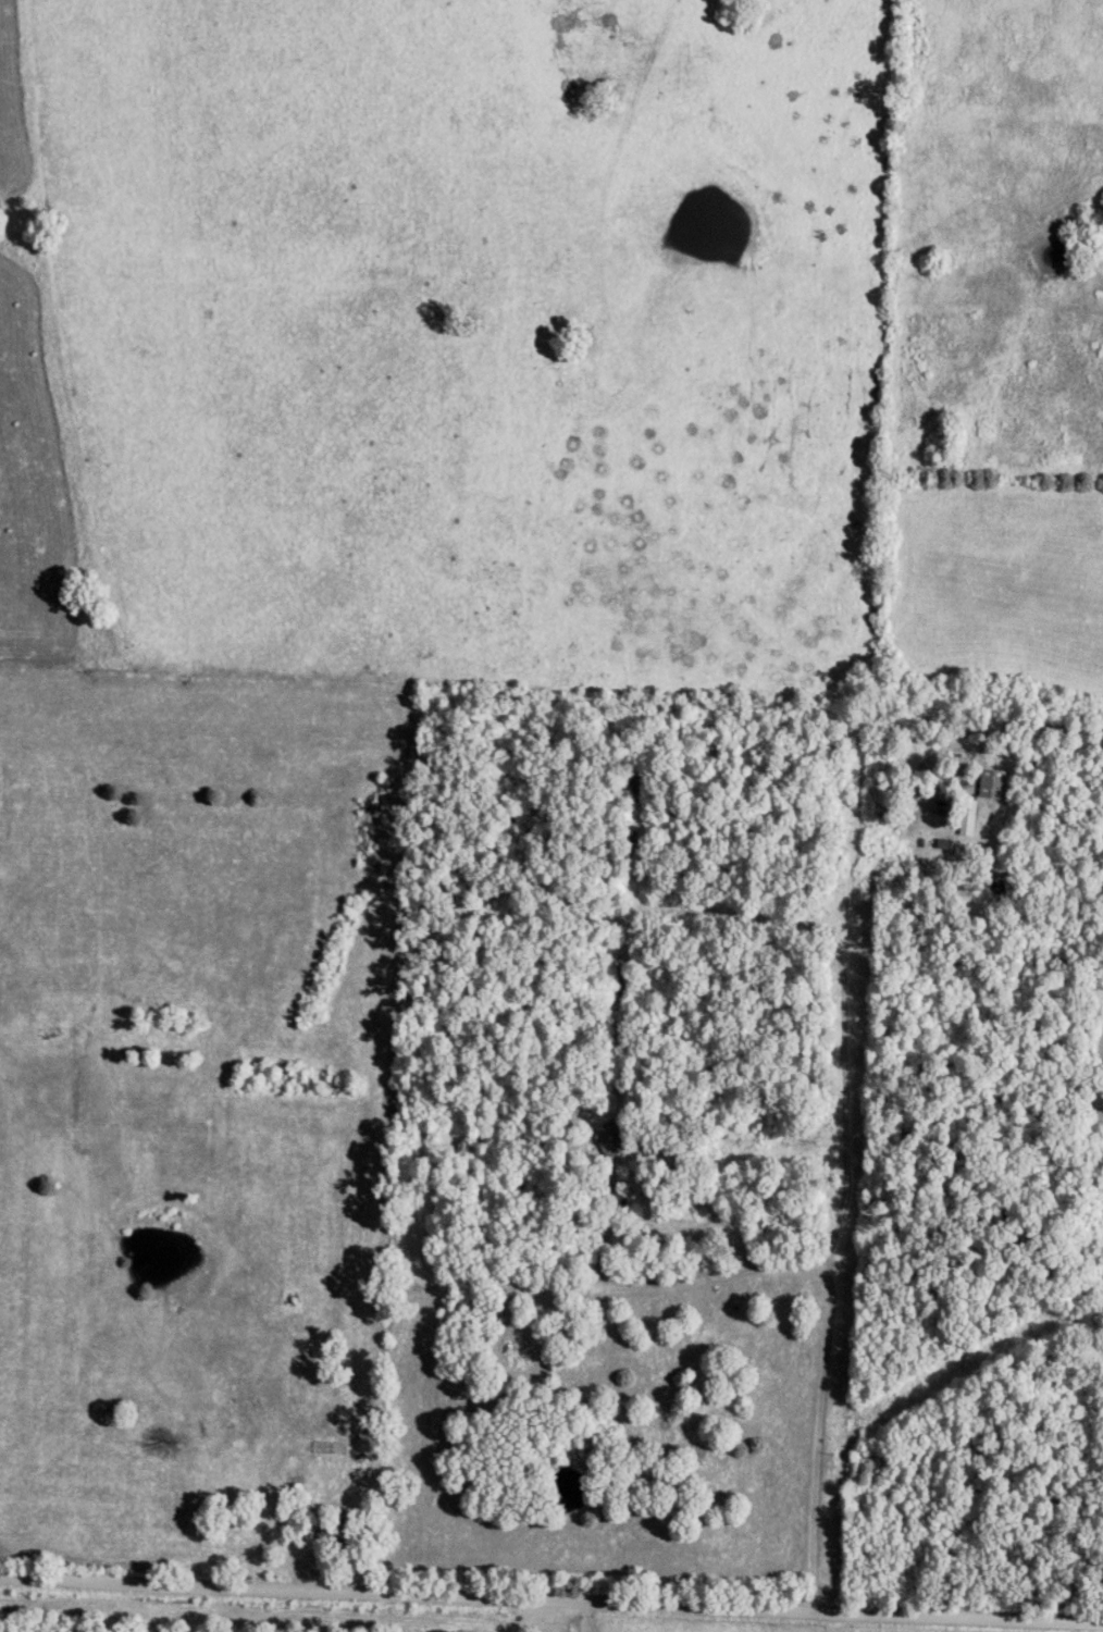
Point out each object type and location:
building: (965, 820)
road: (647, 1164)
road: (840, 1177)
road: (606, 1284)
building: (1094, 1360)
road: (550, 1606)

